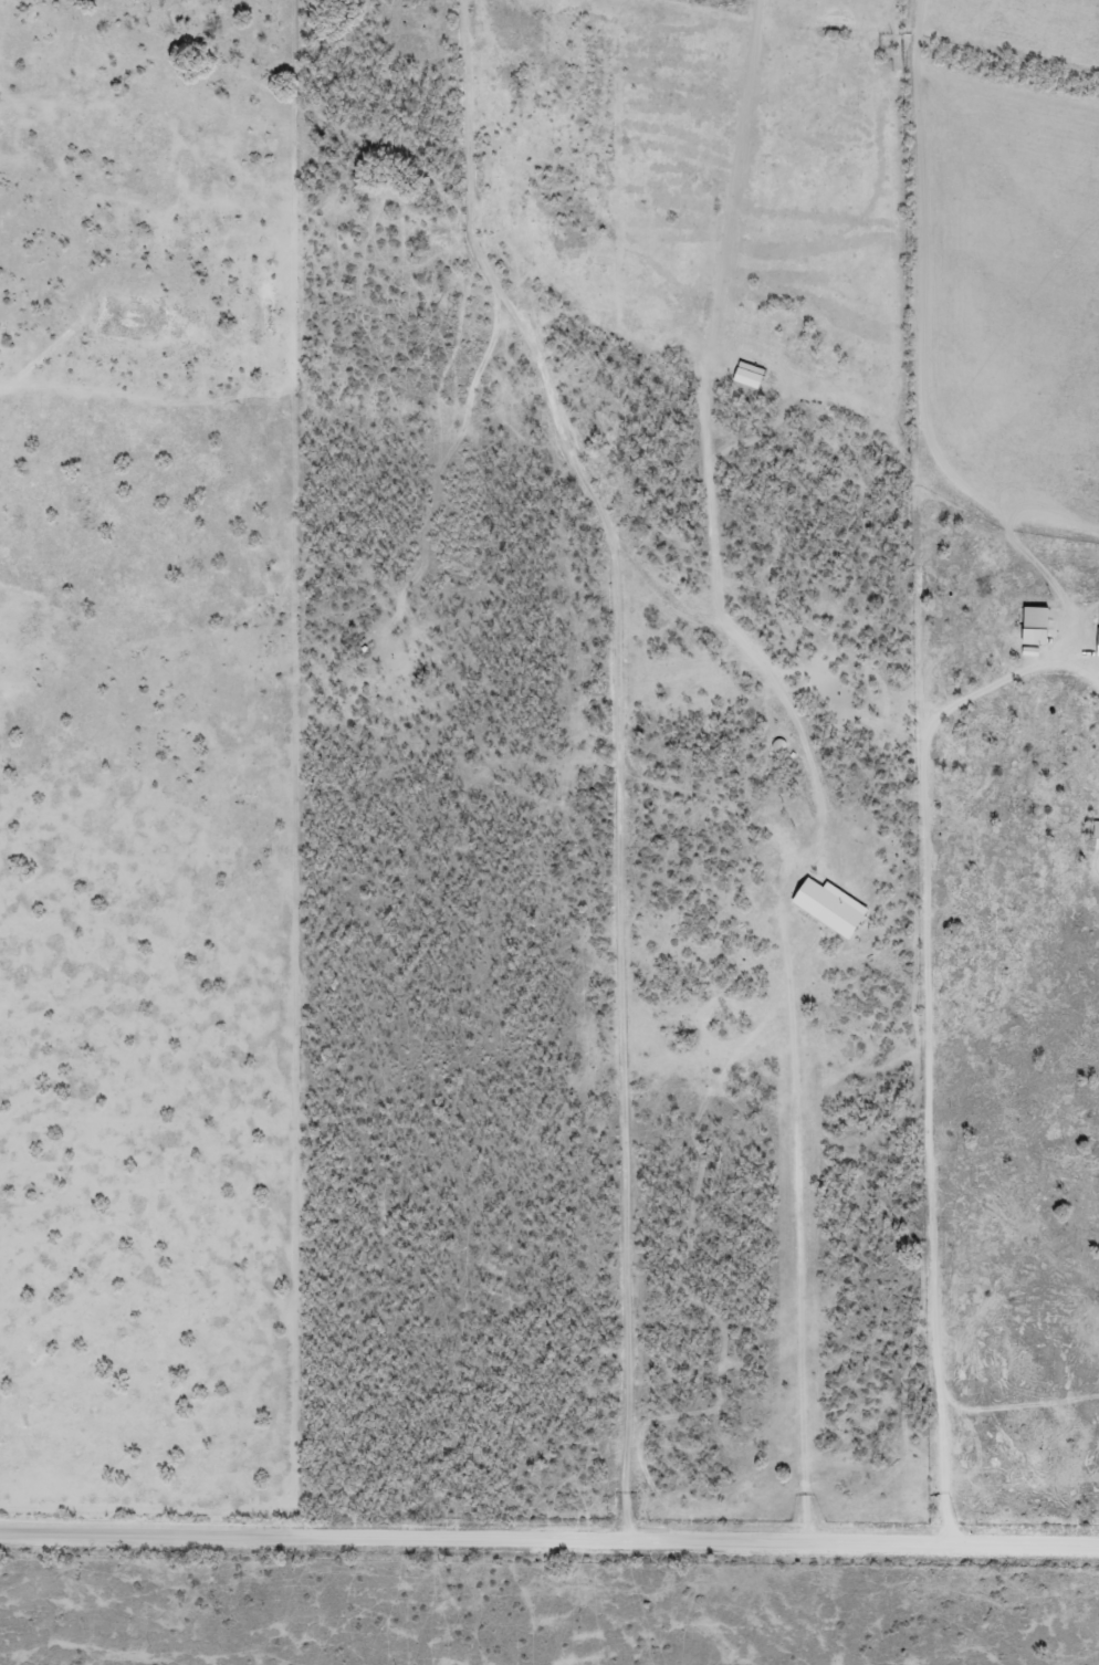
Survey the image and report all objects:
road: (795, 720)
building: (835, 907)
road: (548, 1532)

